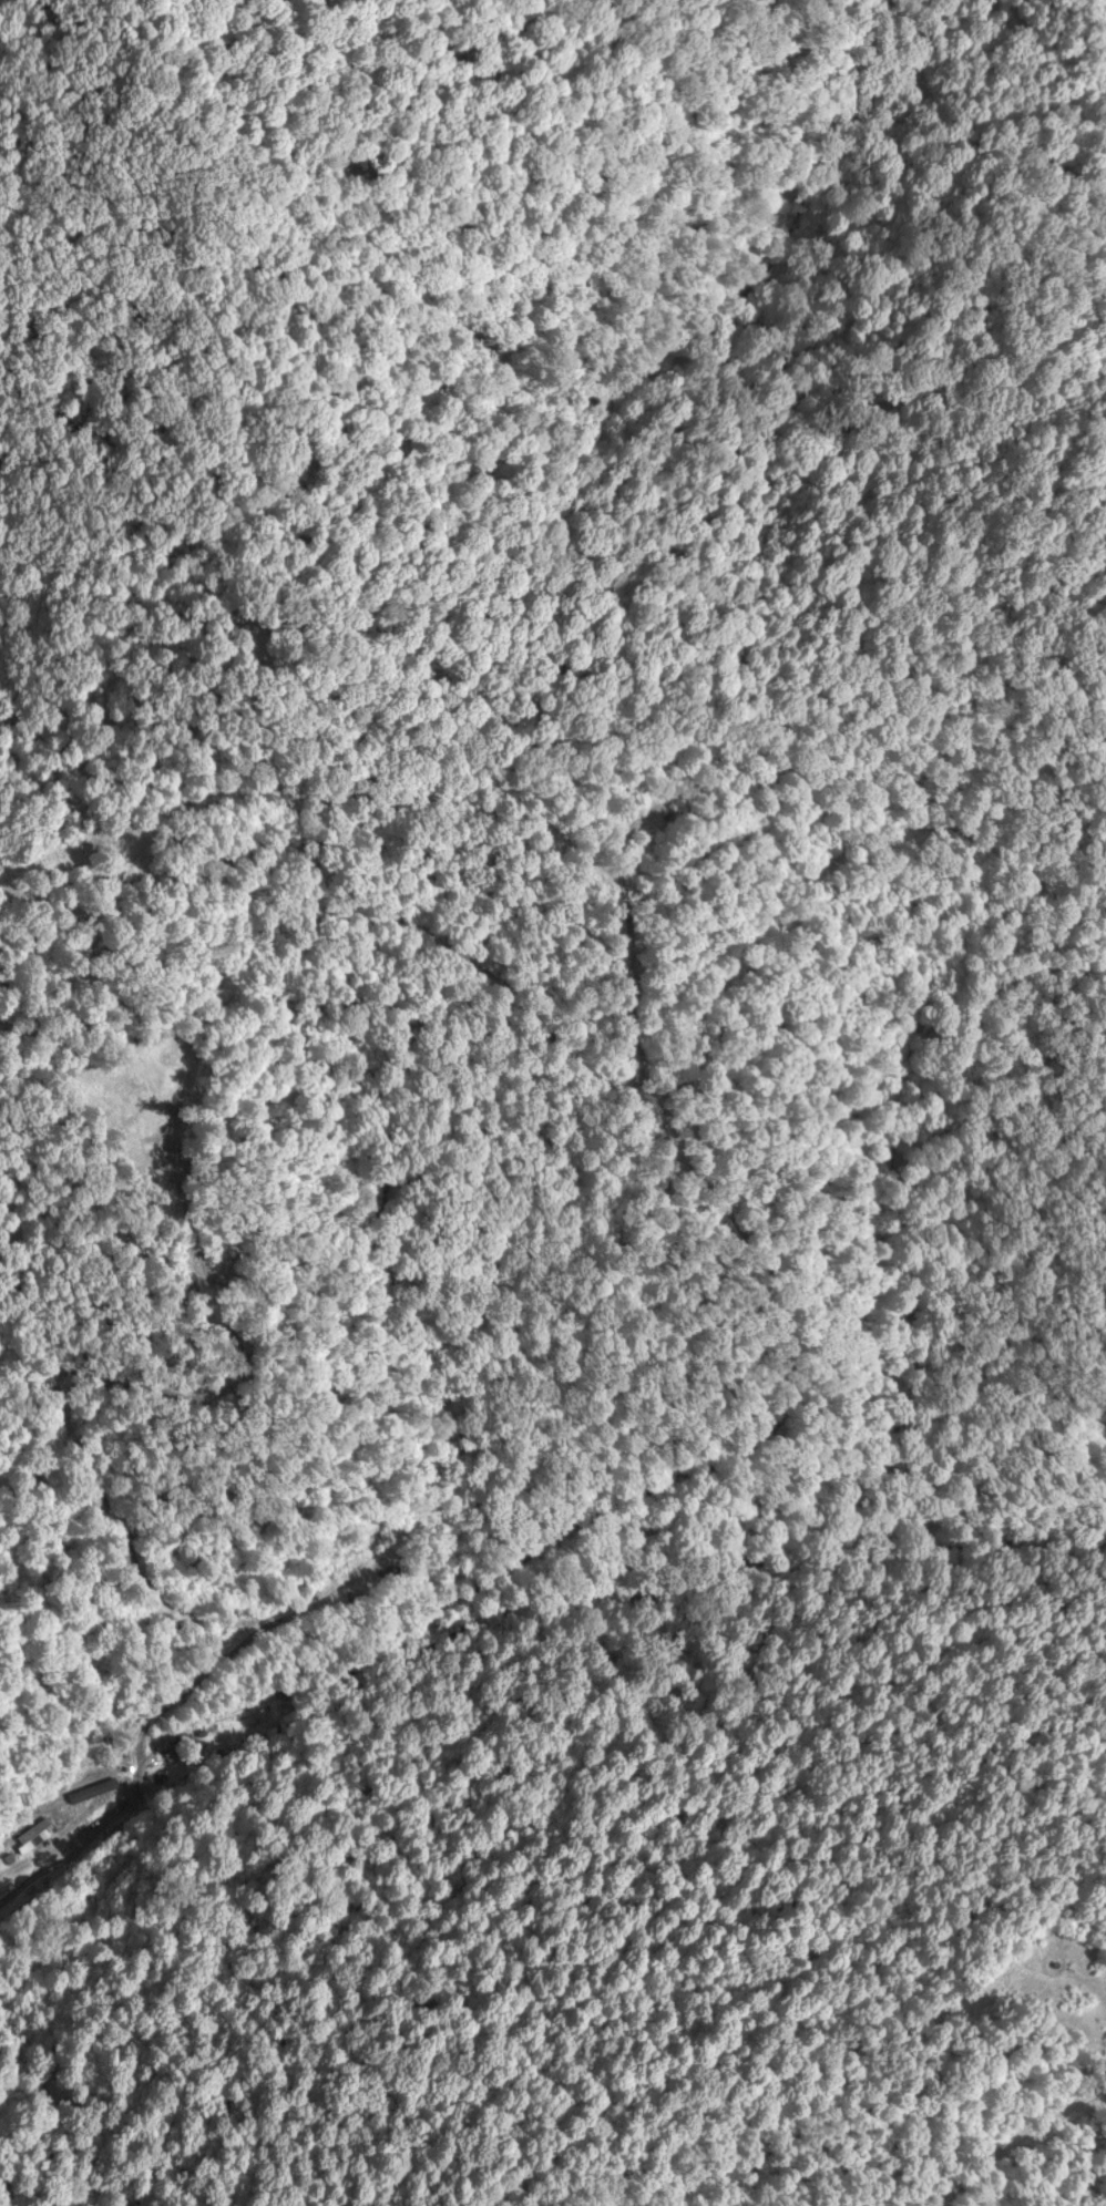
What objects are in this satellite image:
building: (92, 1791)
building: (42, 1834)

